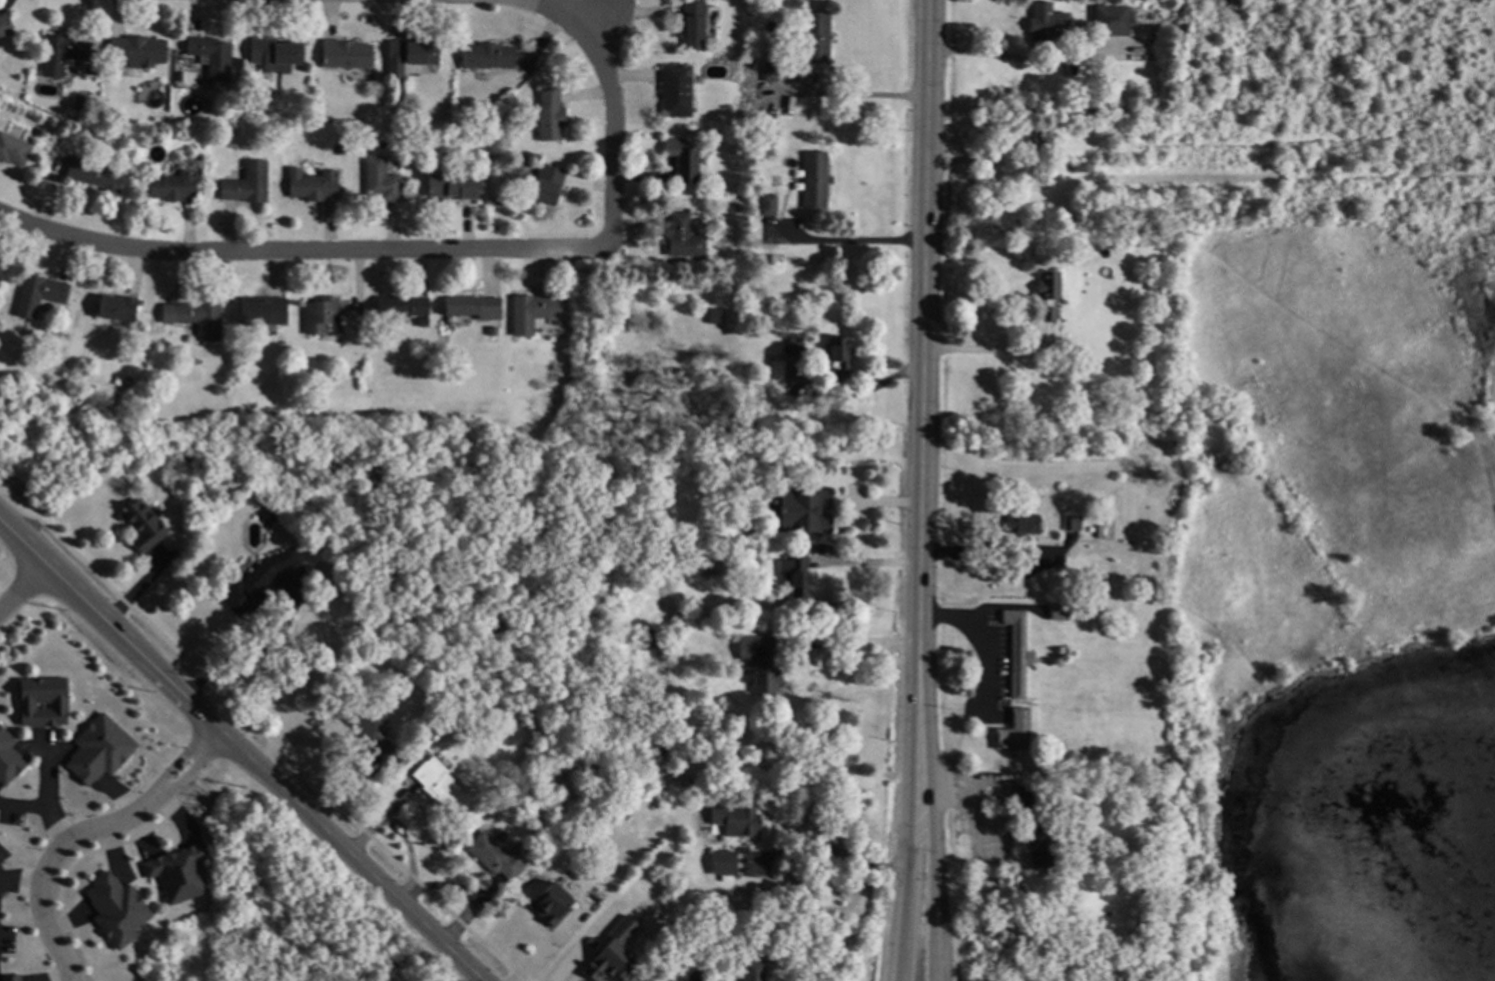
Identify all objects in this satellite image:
road: (552, 7)
road: (593, 16)
building: (1109, 21)
building: (1047, 22)
building: (694, 24)
building: (6, 26)
building: (816, 37)
building: (140, 51)
building: (64, 53)
building: (277, 54)
building: (412, 54)
building: (349, 55)
building: (489, 56)
road: (1001, 56)
building: (215, 57)
building: (93, 71)
building: (772, 71)
building: (181, 76)
building: (678, 90)
road: (857, 97)
building: (552, 115)
building: (42, 132)
road: (612, 138)
building: (1028, 144)
building: (15, 149)
building: (341, 149)
building: (201, 158)
building: (684, 160)
building: (1079, 167)
building: (97, 175)
building: (383, 179)
building: (816, 179)
building: (250, 184)
building: (315, 184)
building: (549, 184)
building: (175, 186)
building: (454, 186)
building: (770, 205)
building: (735, 208)
building: (685, 238)
road: (849, 241)
road: (300, 252)
building: (1, 270)
building: (41, 294)
building: (1047, 294)
building: (403, 306)
building: (475, 307)
building: (120, 308)
building: (265, 310)
building: (533, 312)
building: (322, 315)
building: (717, 316)
building: (65, 318)
building: (203, 318)
building: (1062, 340)
building: (796, 346)
road: (983, 349)
building: (760, 352)
road: (923, 353)
building: (842, 354)
building: (132, 379)
building: (120, 380)
crop: (1493, 385)
road: (889, 504)
building: (191, 511)
building: (801, 512)
building: (270, 516)
building: (1071, 523)
building: (146, 526)
building: (1020, 526)
building: (720, 530)
building: (1088, 530)
building: (1098, 533)
road: (994, 548)
road: (864, 563)
building: (797, 575)
road: (995, 575)
building: (259, 581)
road: (22, 589)
building: (1058, 612)
building: (650, 639)
road: (851, 645)
building: (1016, 652)
road: (253, 656)
building: (763, 662)
road: (982, 690)
building: (43, 702)
building: (374, 729)
building: (1012, 732)
building: (429, 737)
building: (98, 750)
road: (240, 752)
building: (8, 760)
building: (996, 767)
building: (497, 781)
building: (443, 786)
building: (610, 787)
road: (44, 793)
building: (1023, 797)
building: (597, 798)
building: (487, 812)
building: (743, 820)
road: (85, 835)
building: (1047, 838)
road: (931, 843)
road: (909, 844)
road: (827, 850)
building: (501, 856)
building: (1039, 859)
building: (730, 861)
building: (181, 873)
road: (20, 885)
building: (553, 904)
building: (118, 909)
building: (669, 950)
building: (615, 952)
building: (756, 970)
building: (698, 975)
building: (13, 978)
building: (677, 978)

